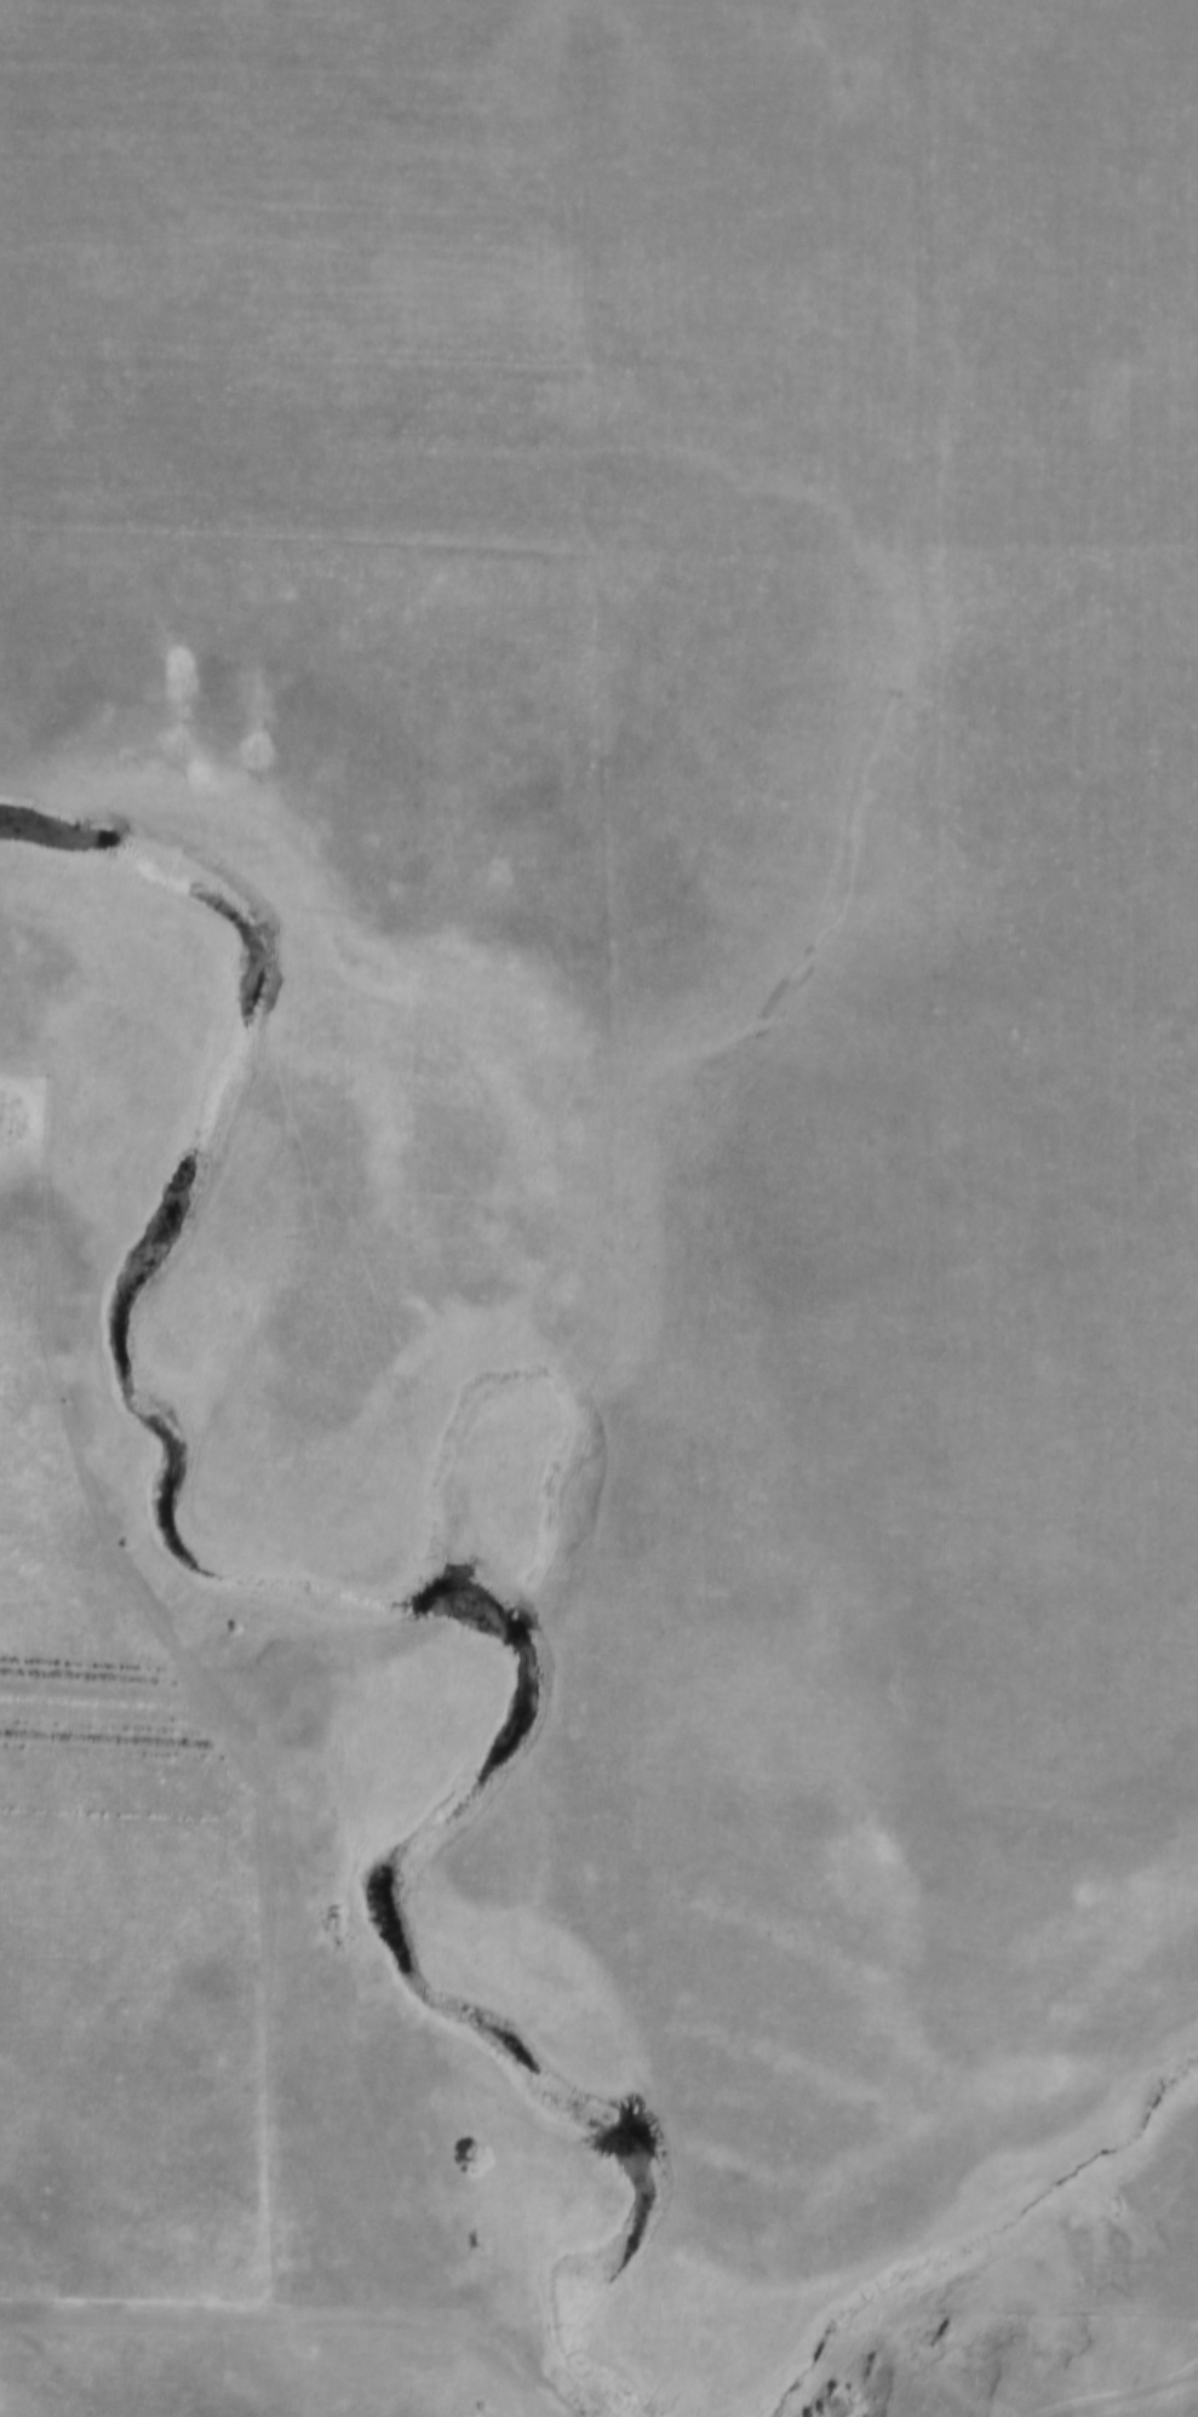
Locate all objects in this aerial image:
road: (286, 2337)
road: (1140, 2399)

